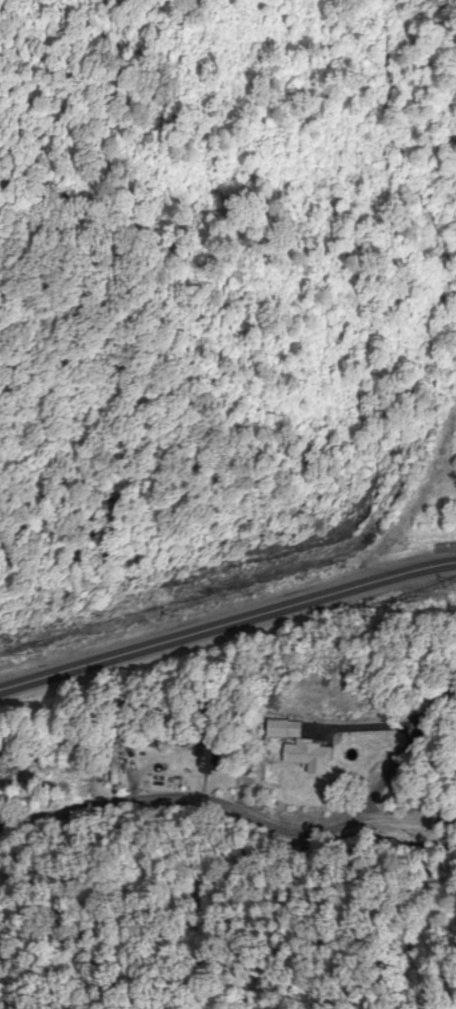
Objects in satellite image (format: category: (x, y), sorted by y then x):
road: (226, 617)
building: (298, 748)
building: (207, 762)
building: (113, 765)
road: (228, 784)

